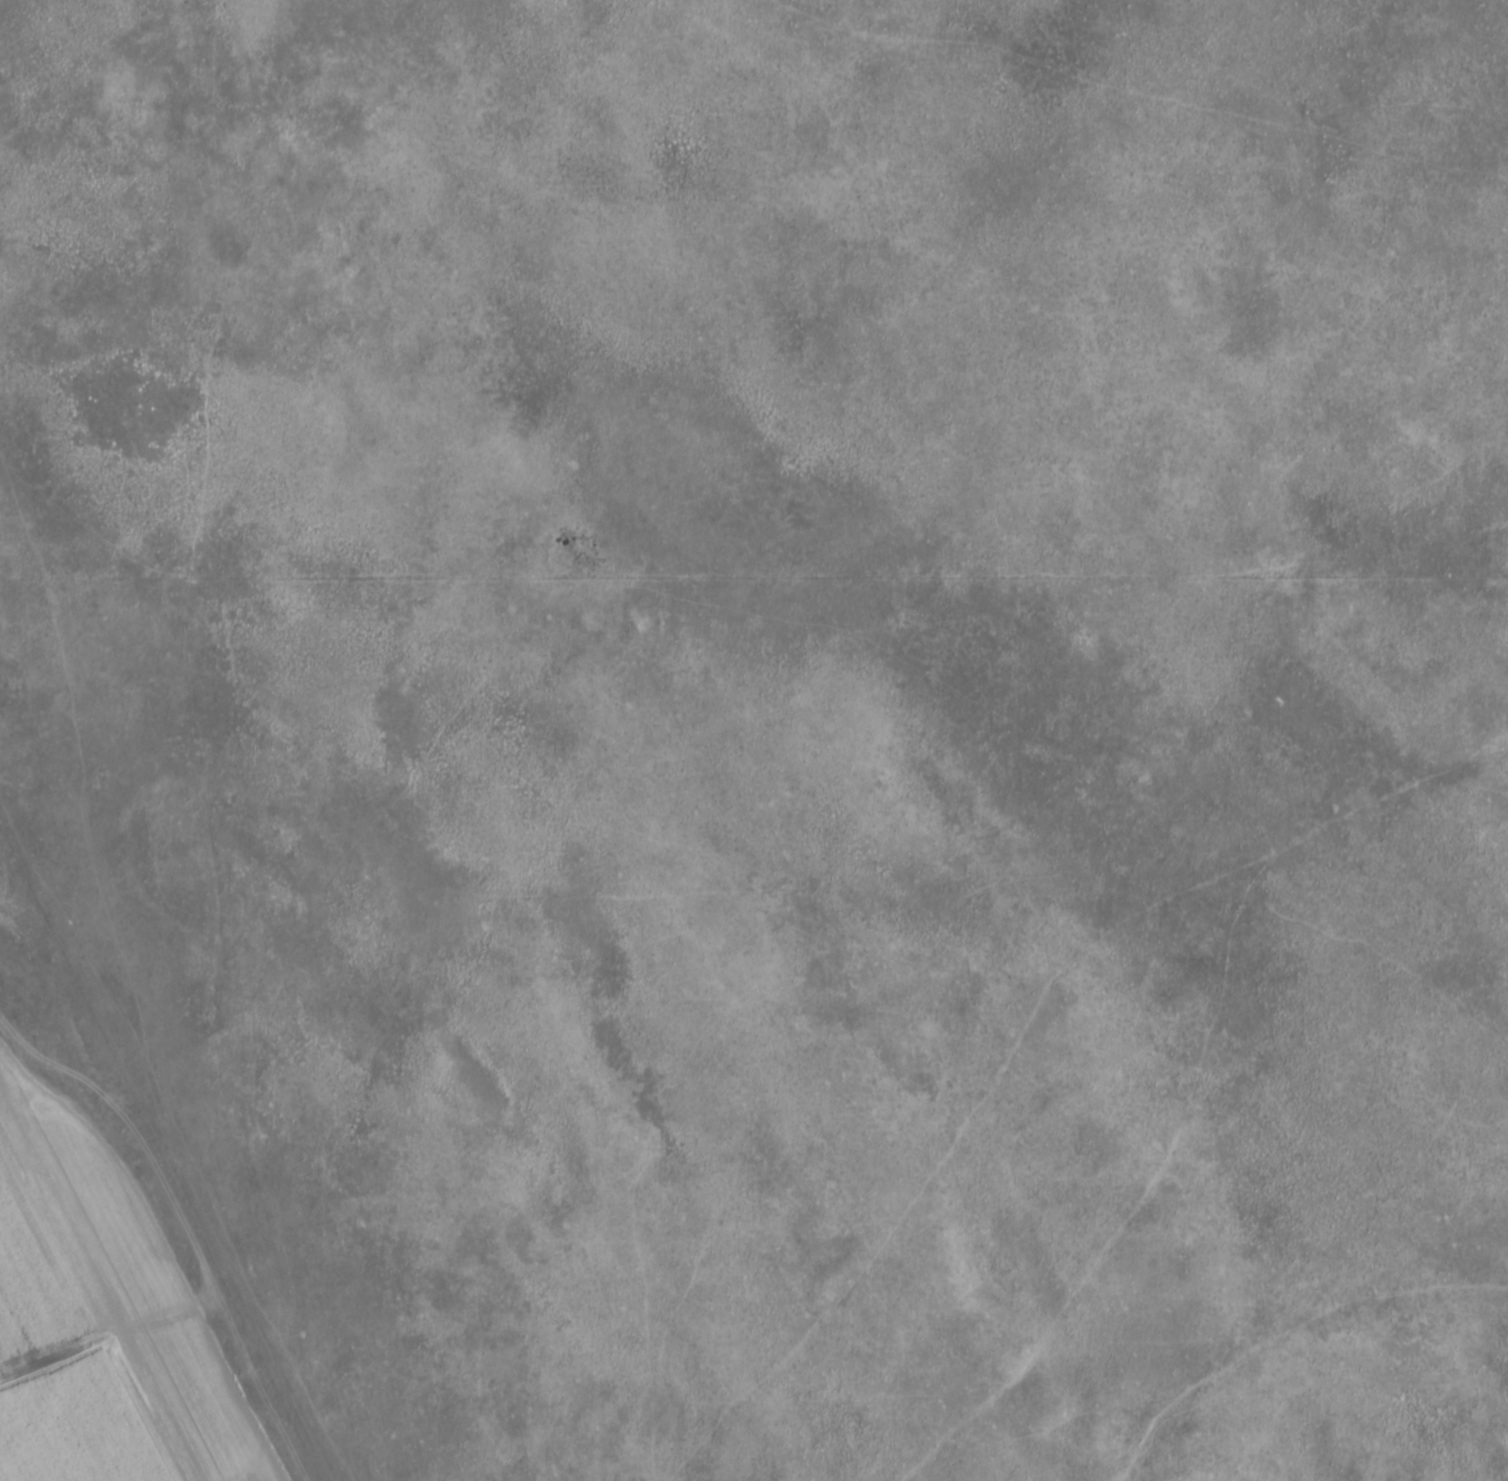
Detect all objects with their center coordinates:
crop: (103, 1319)

